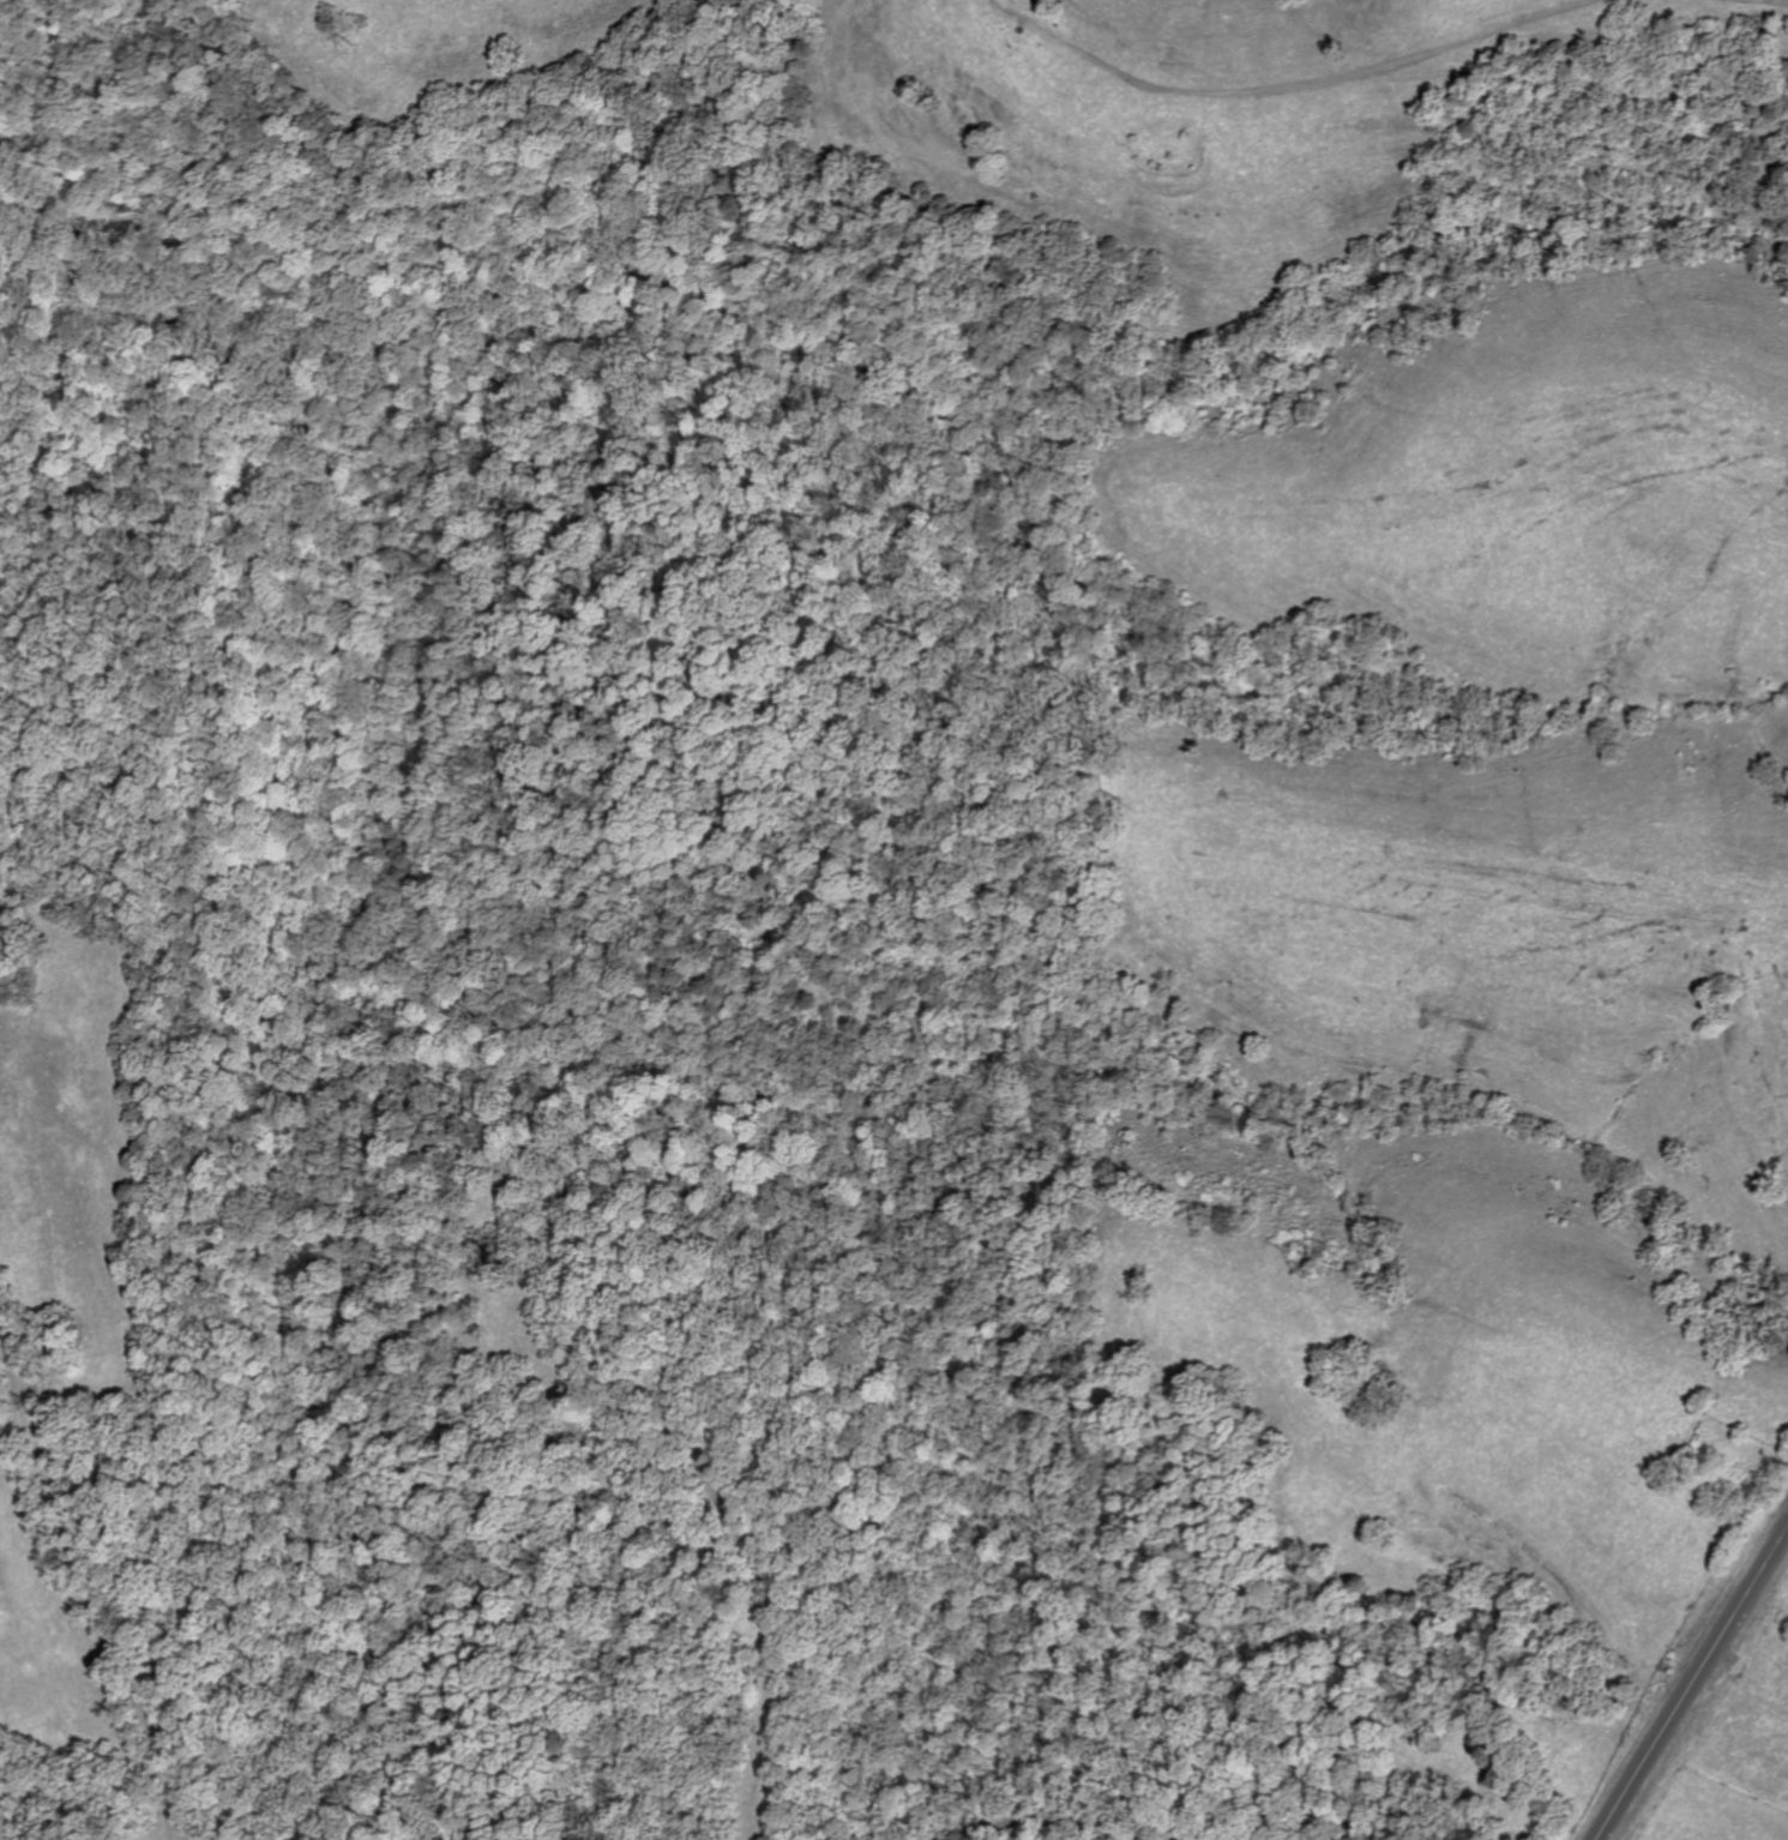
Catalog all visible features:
road: (86, 1583)
road: (1693, 1685)
road: (1066, 1818)

